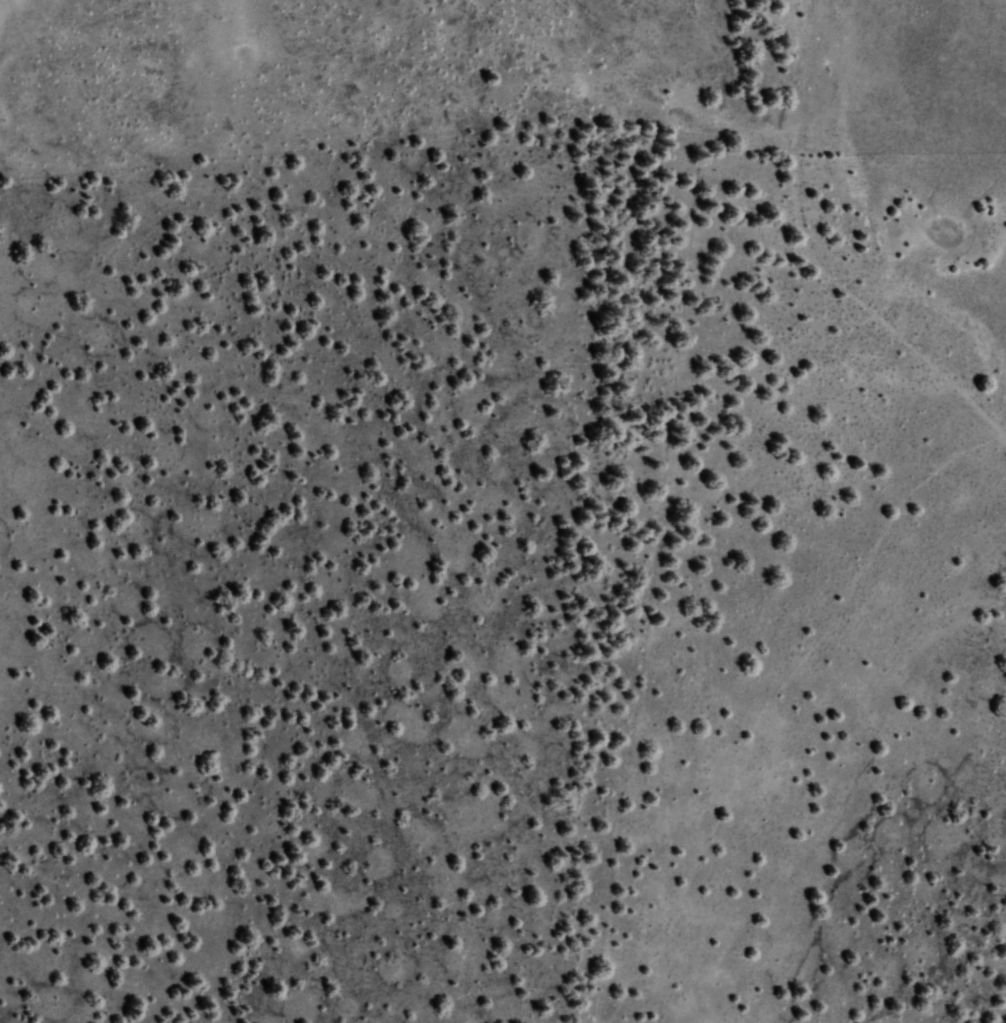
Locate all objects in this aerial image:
road: (819, 254)

